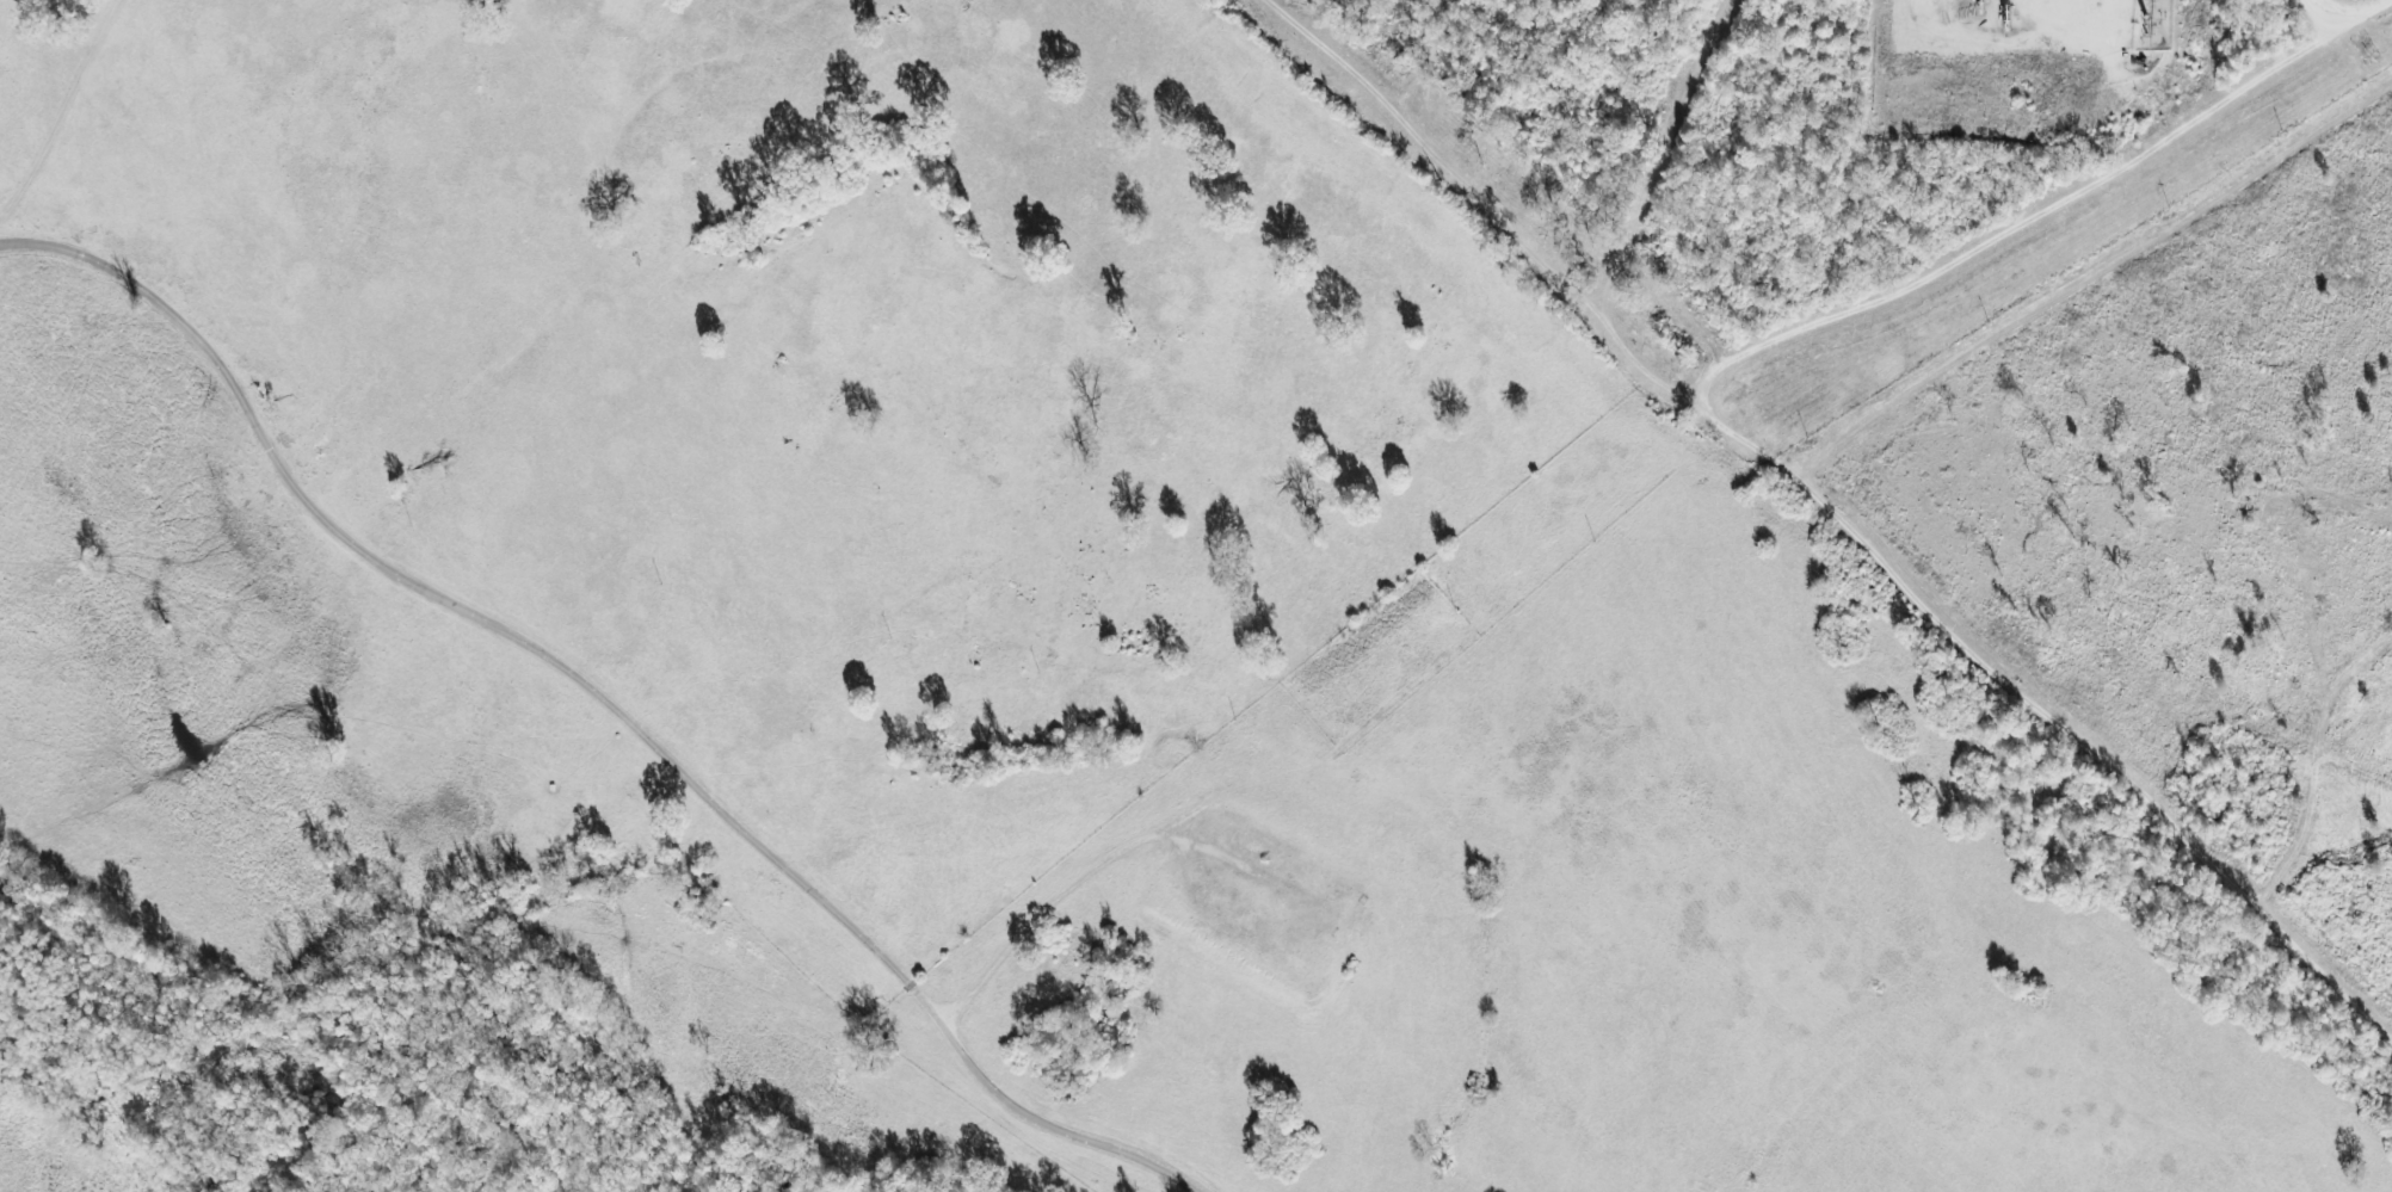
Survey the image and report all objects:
road: (2353, 20)

